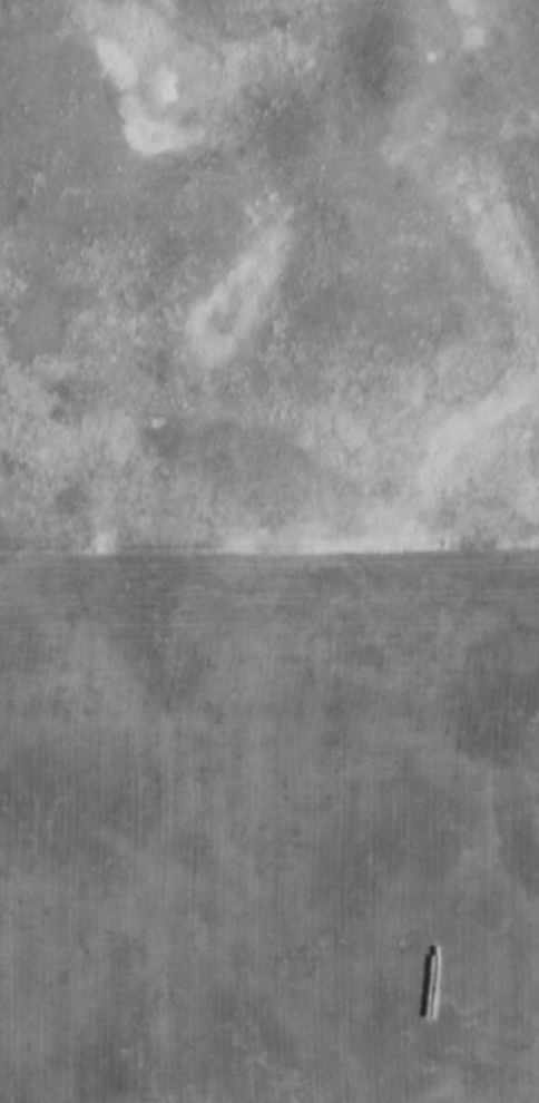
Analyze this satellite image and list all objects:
building: (305, 674)
building: (154, 849)
building: (258, 987)
building: (133, 1052)

